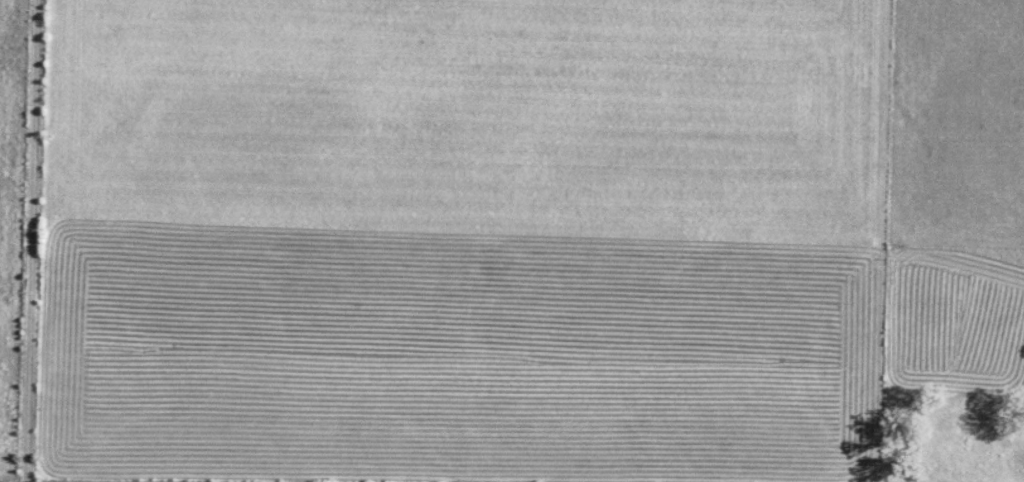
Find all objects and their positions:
road: (35, 241)

